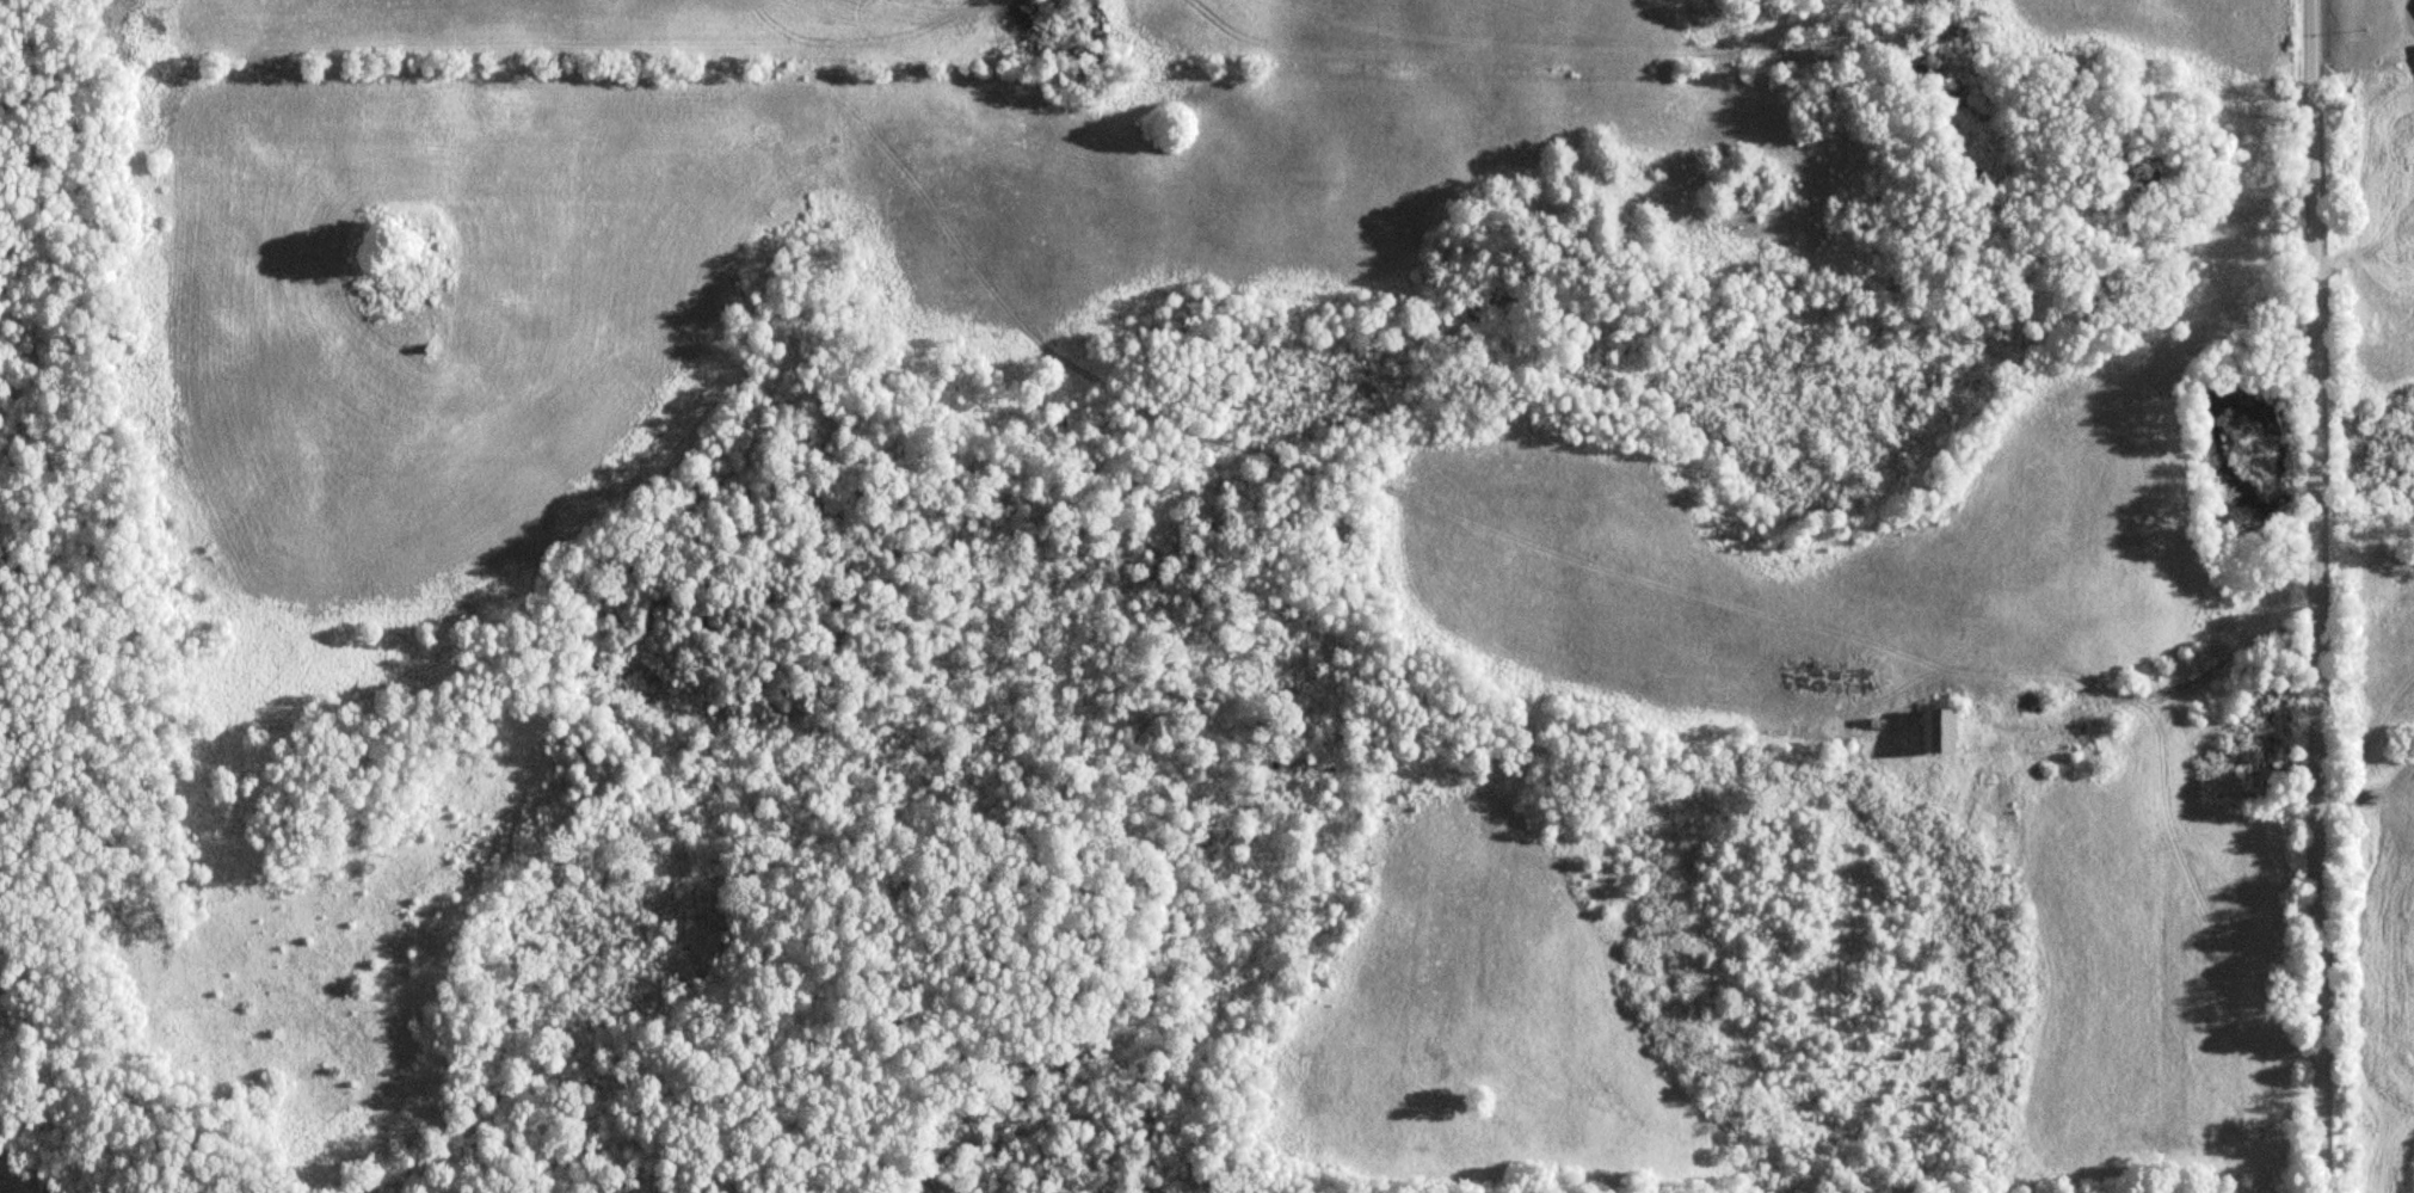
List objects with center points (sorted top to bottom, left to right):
road: (2311, 596)
building: (1940, 728)

